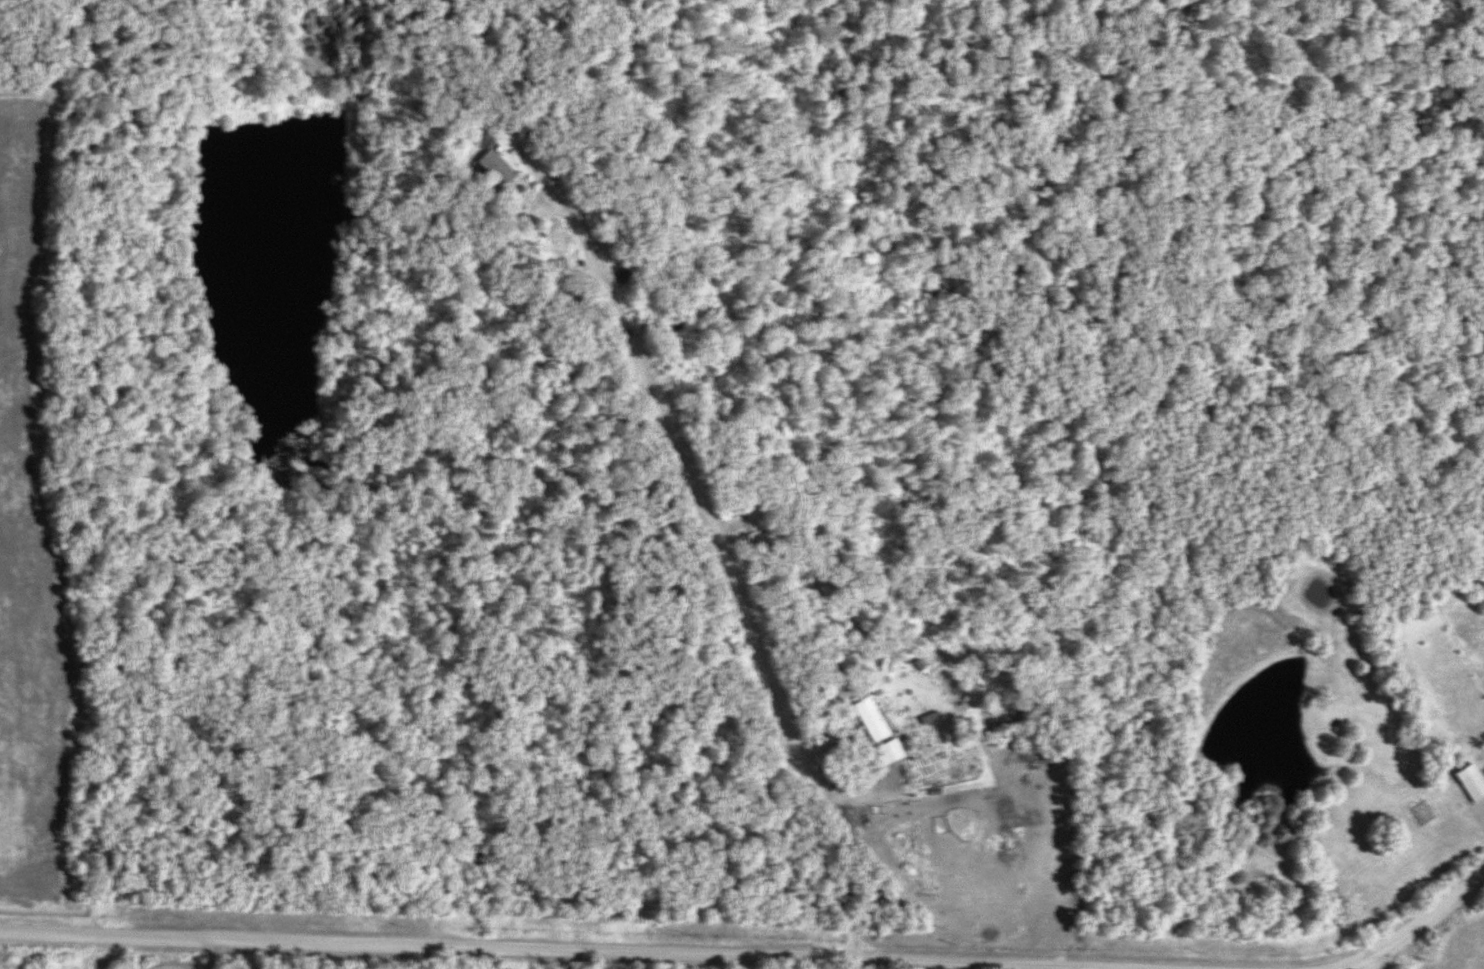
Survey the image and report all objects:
building: (490, 165)
building: (628, 276)
road: (730, 565)
building: (1468, 783)
road: (1413, 928)
road: (501, 949)
road: (1380, 961)

